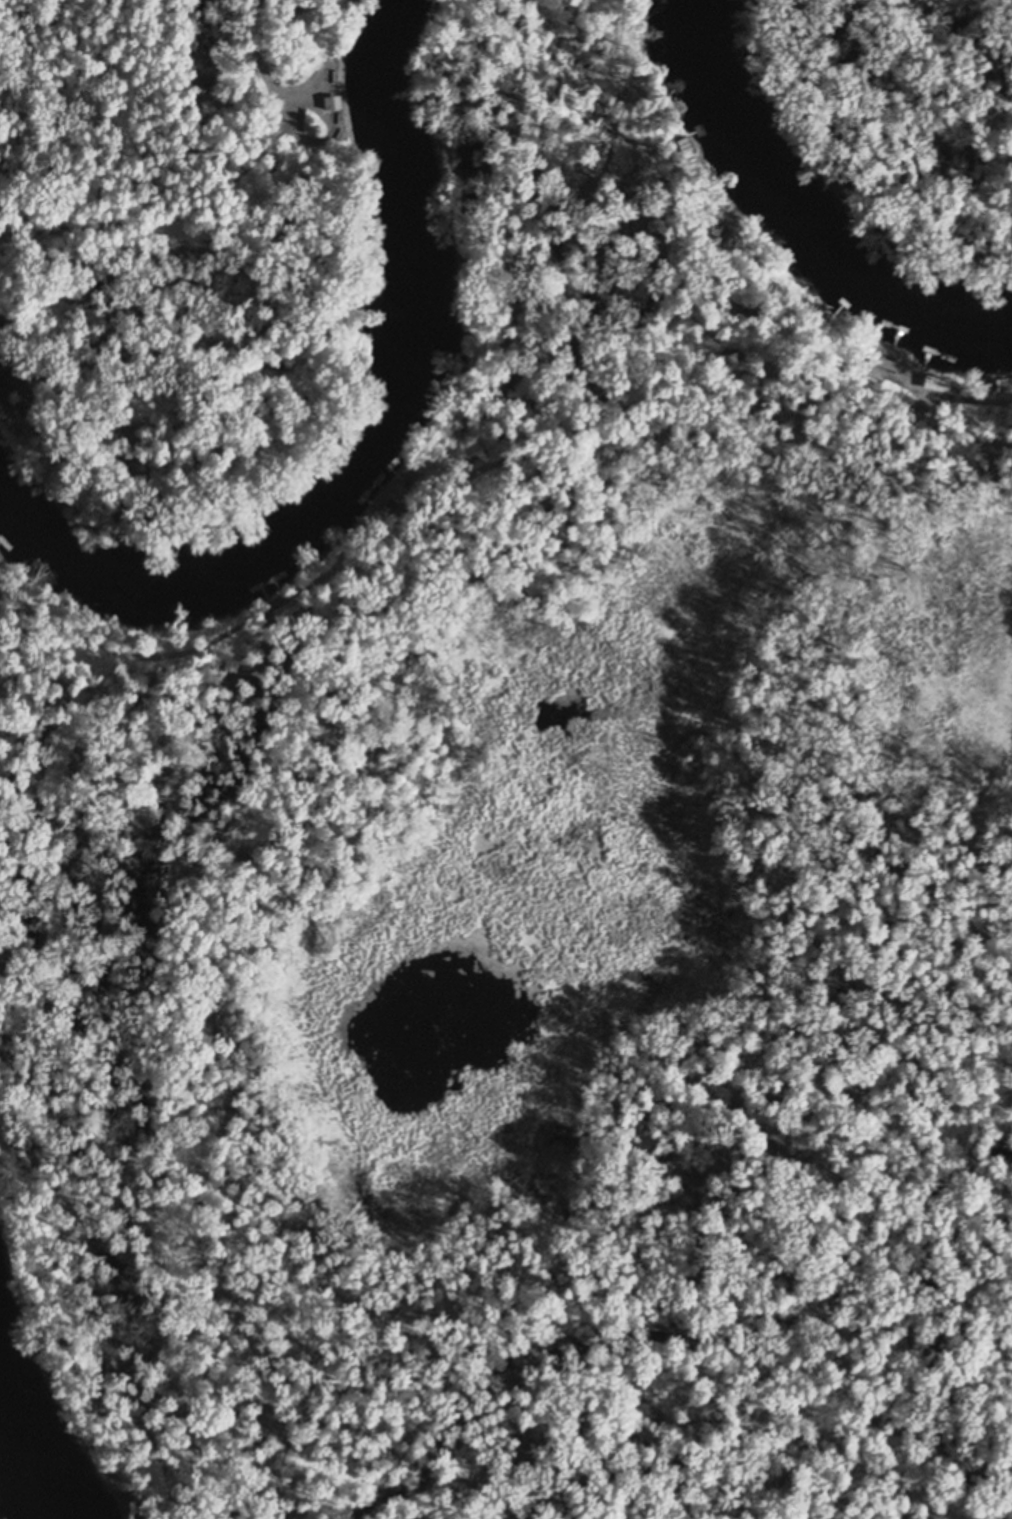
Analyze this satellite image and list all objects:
building: (329, 83)
building: (684, 140)
building: (737, 209)
building: (725, 225)
river: (790, 231)
building: (813, 308)
building: (885, 346)
building: (936, 378)
building: (1003, 380)
river: (368, 454)
building: (414, 475)
building: (390, 506)
building: (285, 606)
river: (31, 1459)

